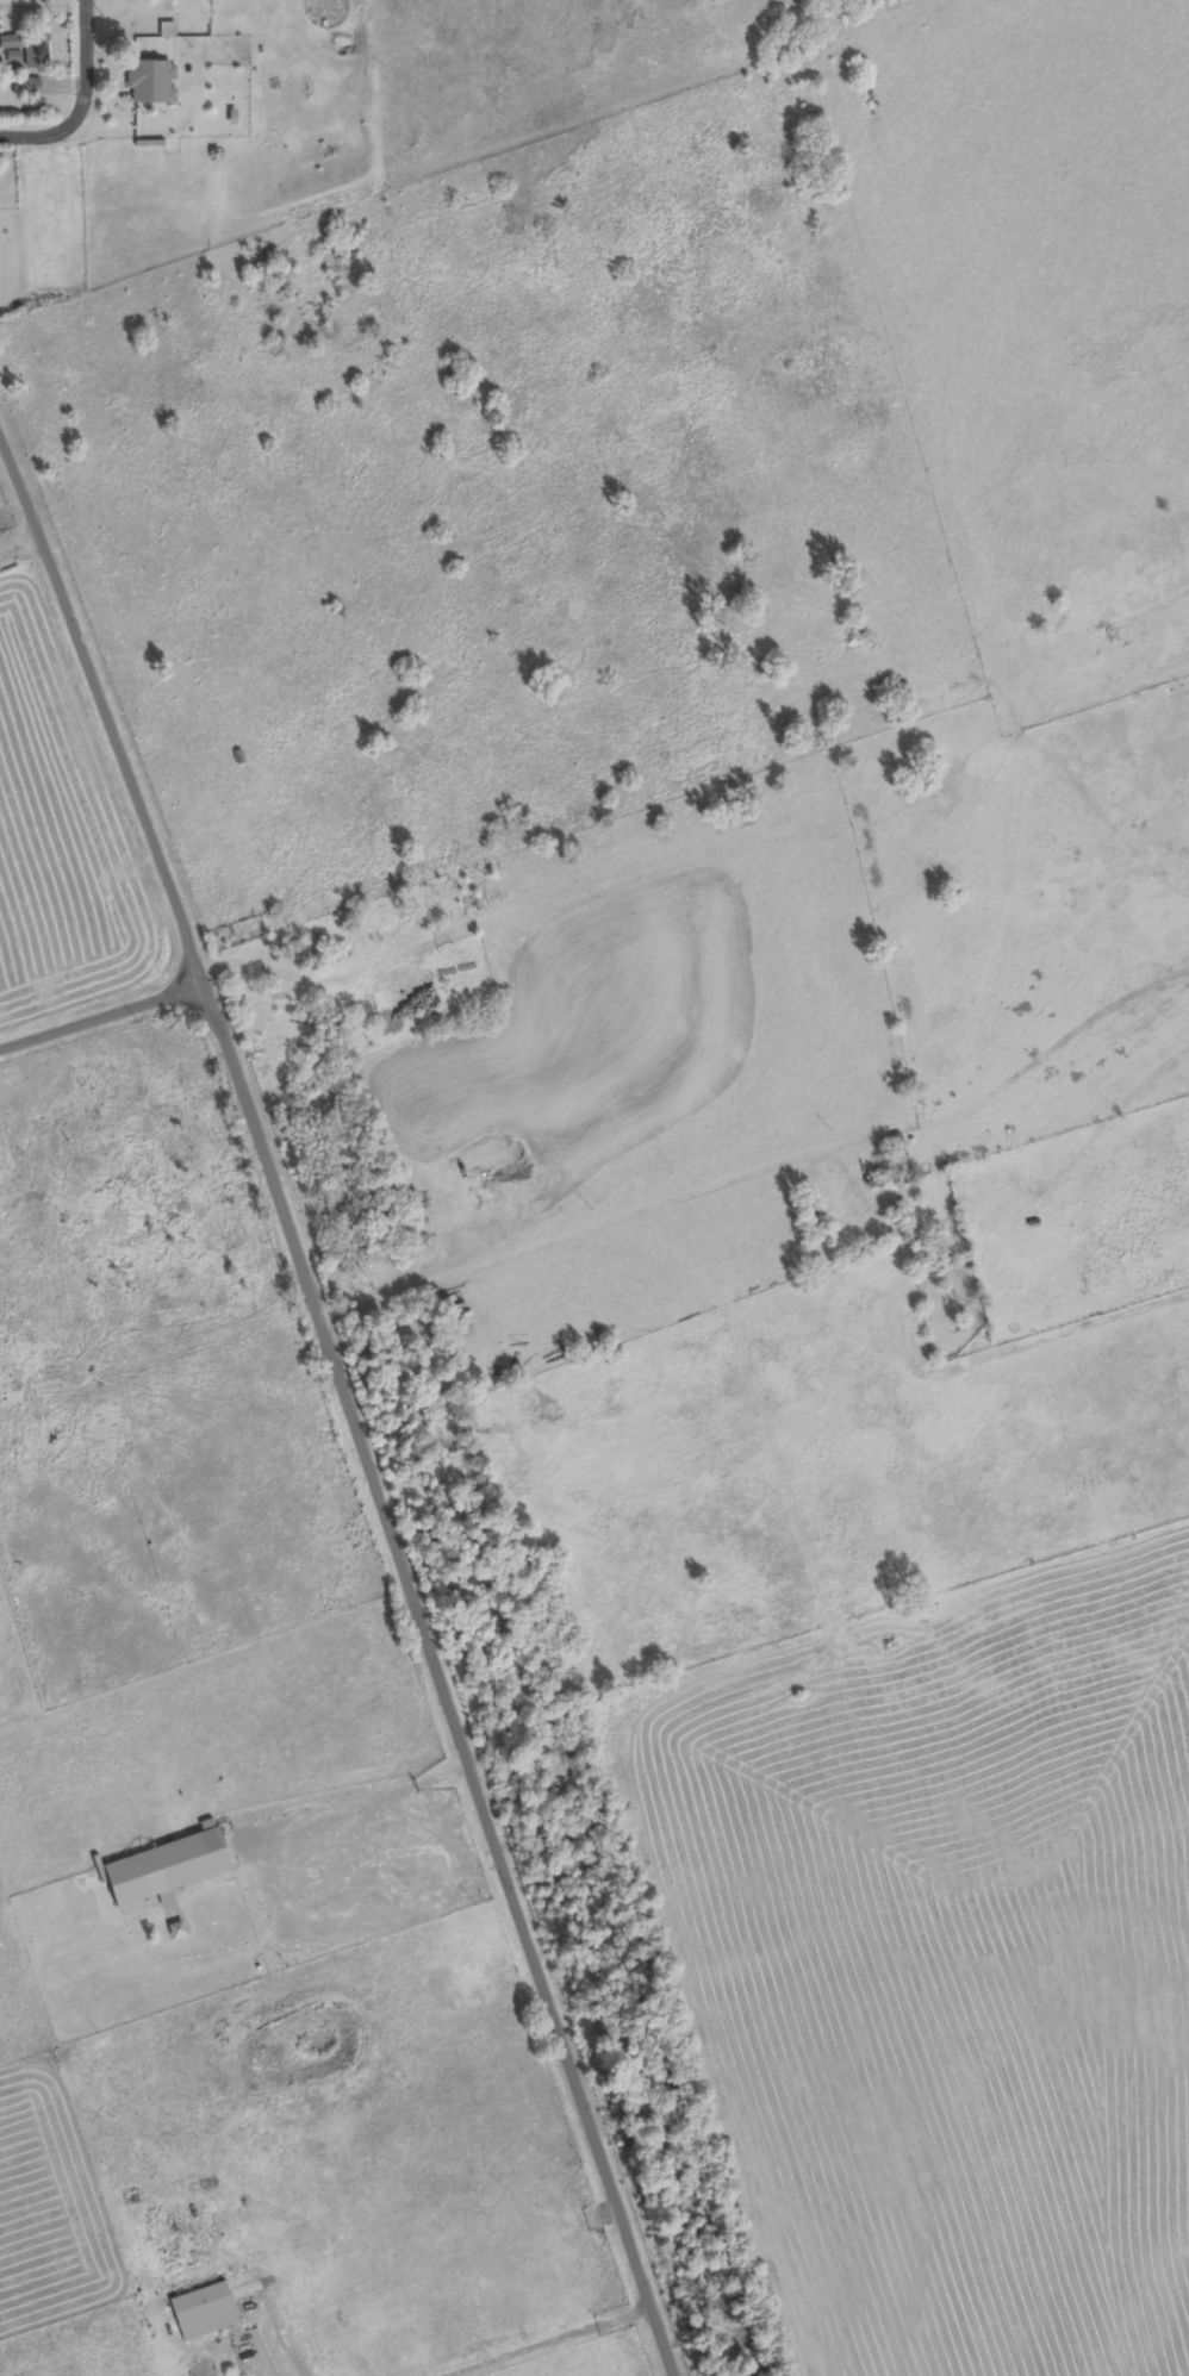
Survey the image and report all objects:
building: (26, 49)
road: (77, 70)
building: (152, 82)
building: (27, 87)
road: (38, 139)
road: (102, 1022)
road: (349, 1414)
building: (169, 1867)
building: (205, 2312)

